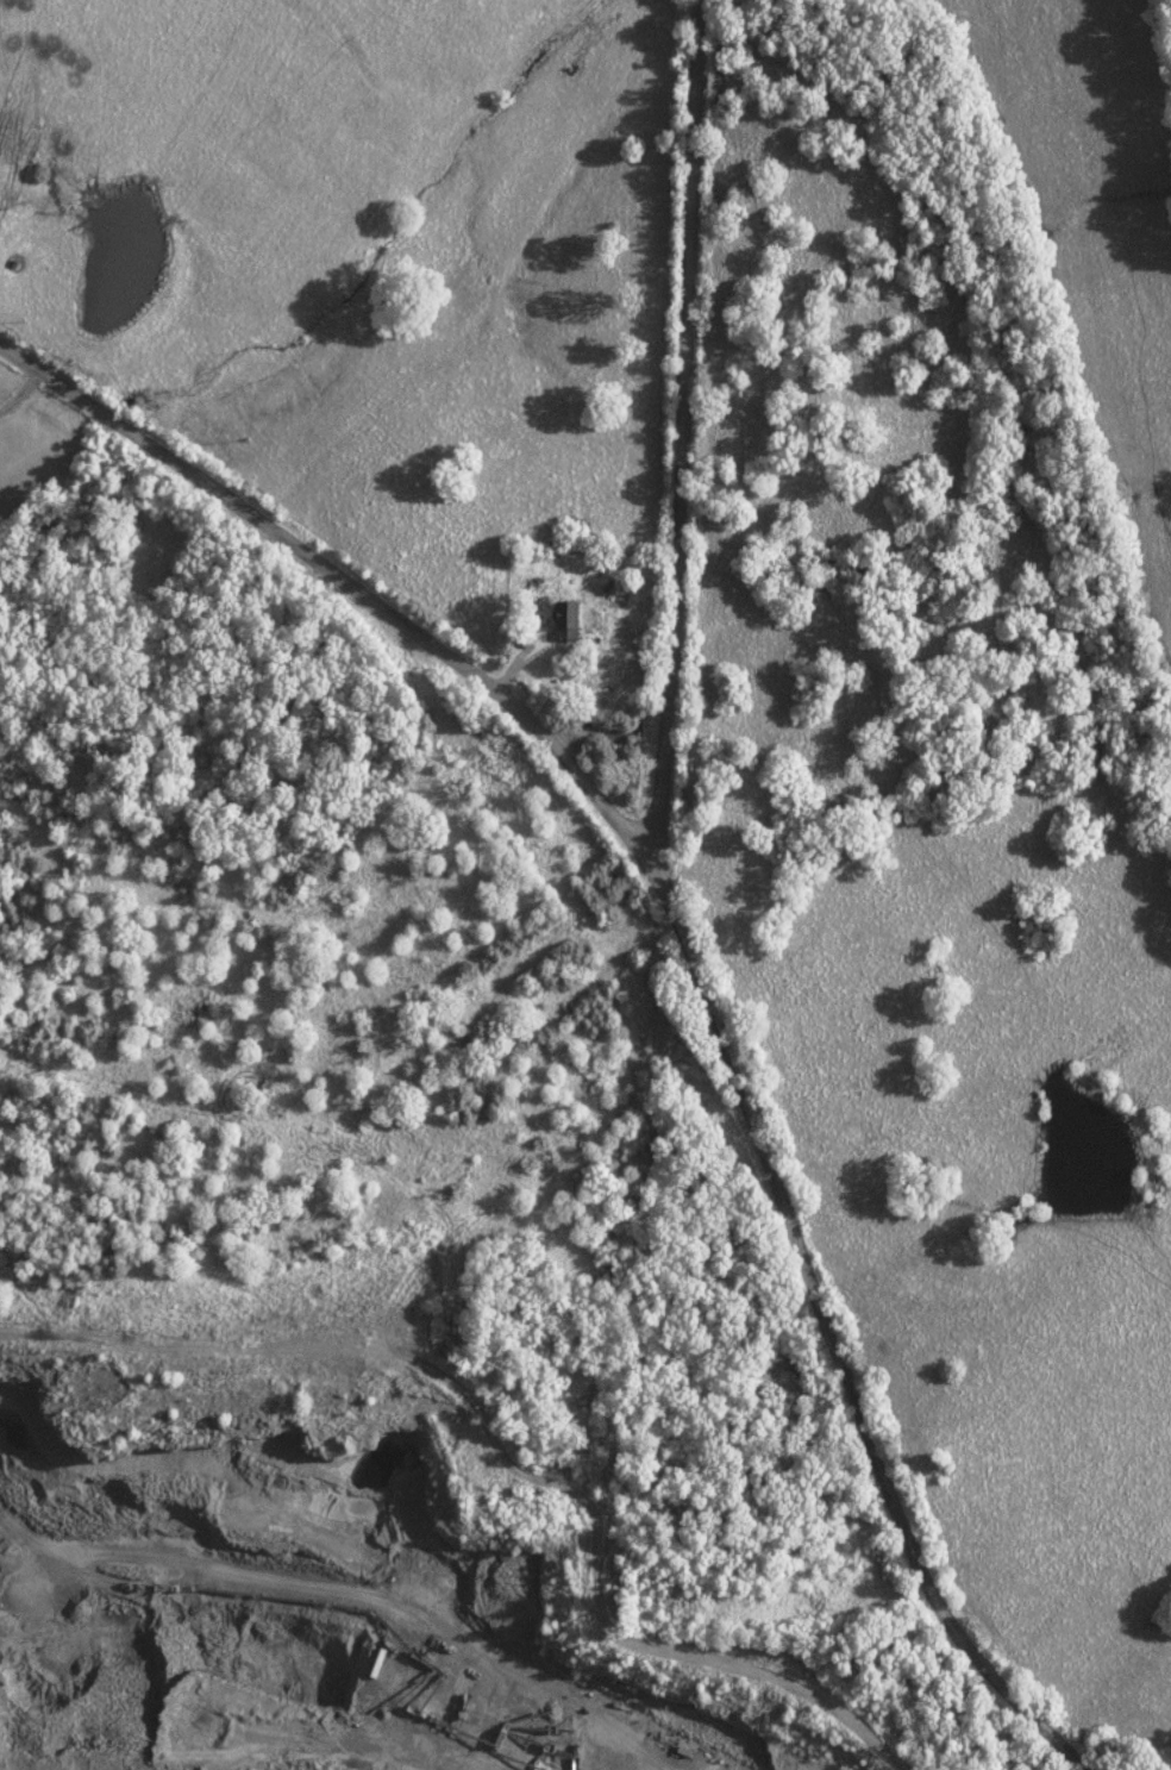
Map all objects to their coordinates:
road: (680, 423)
road: (332, 577)
building: (563, 619)
building: (490, 1261)
road: (829, 1327)

